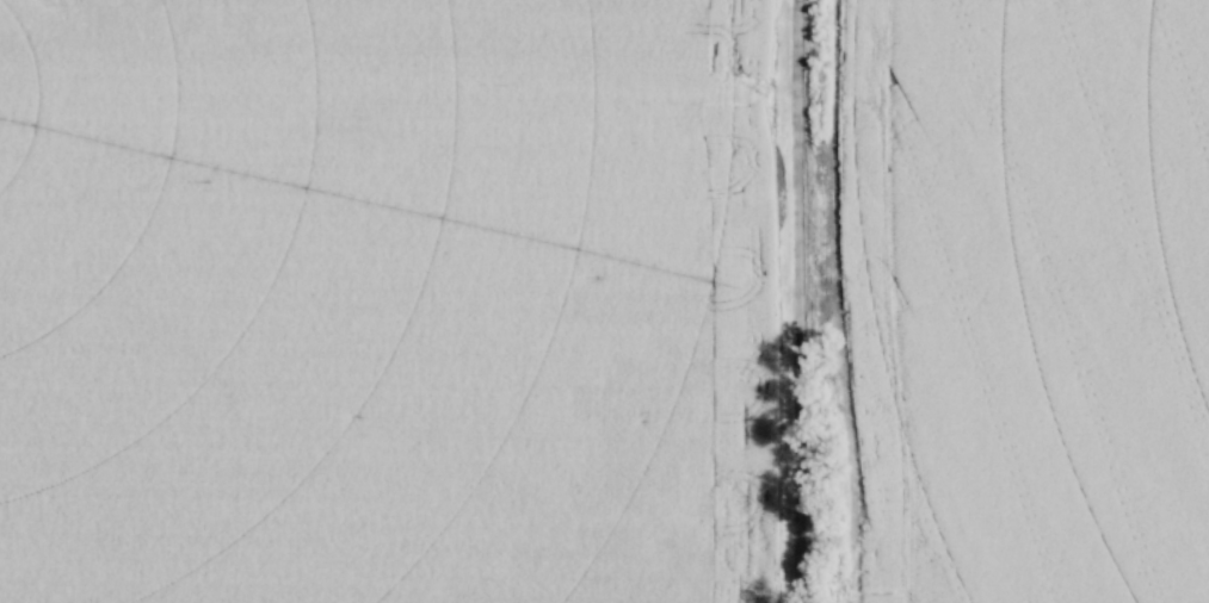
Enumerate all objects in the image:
road: (796, 301)

